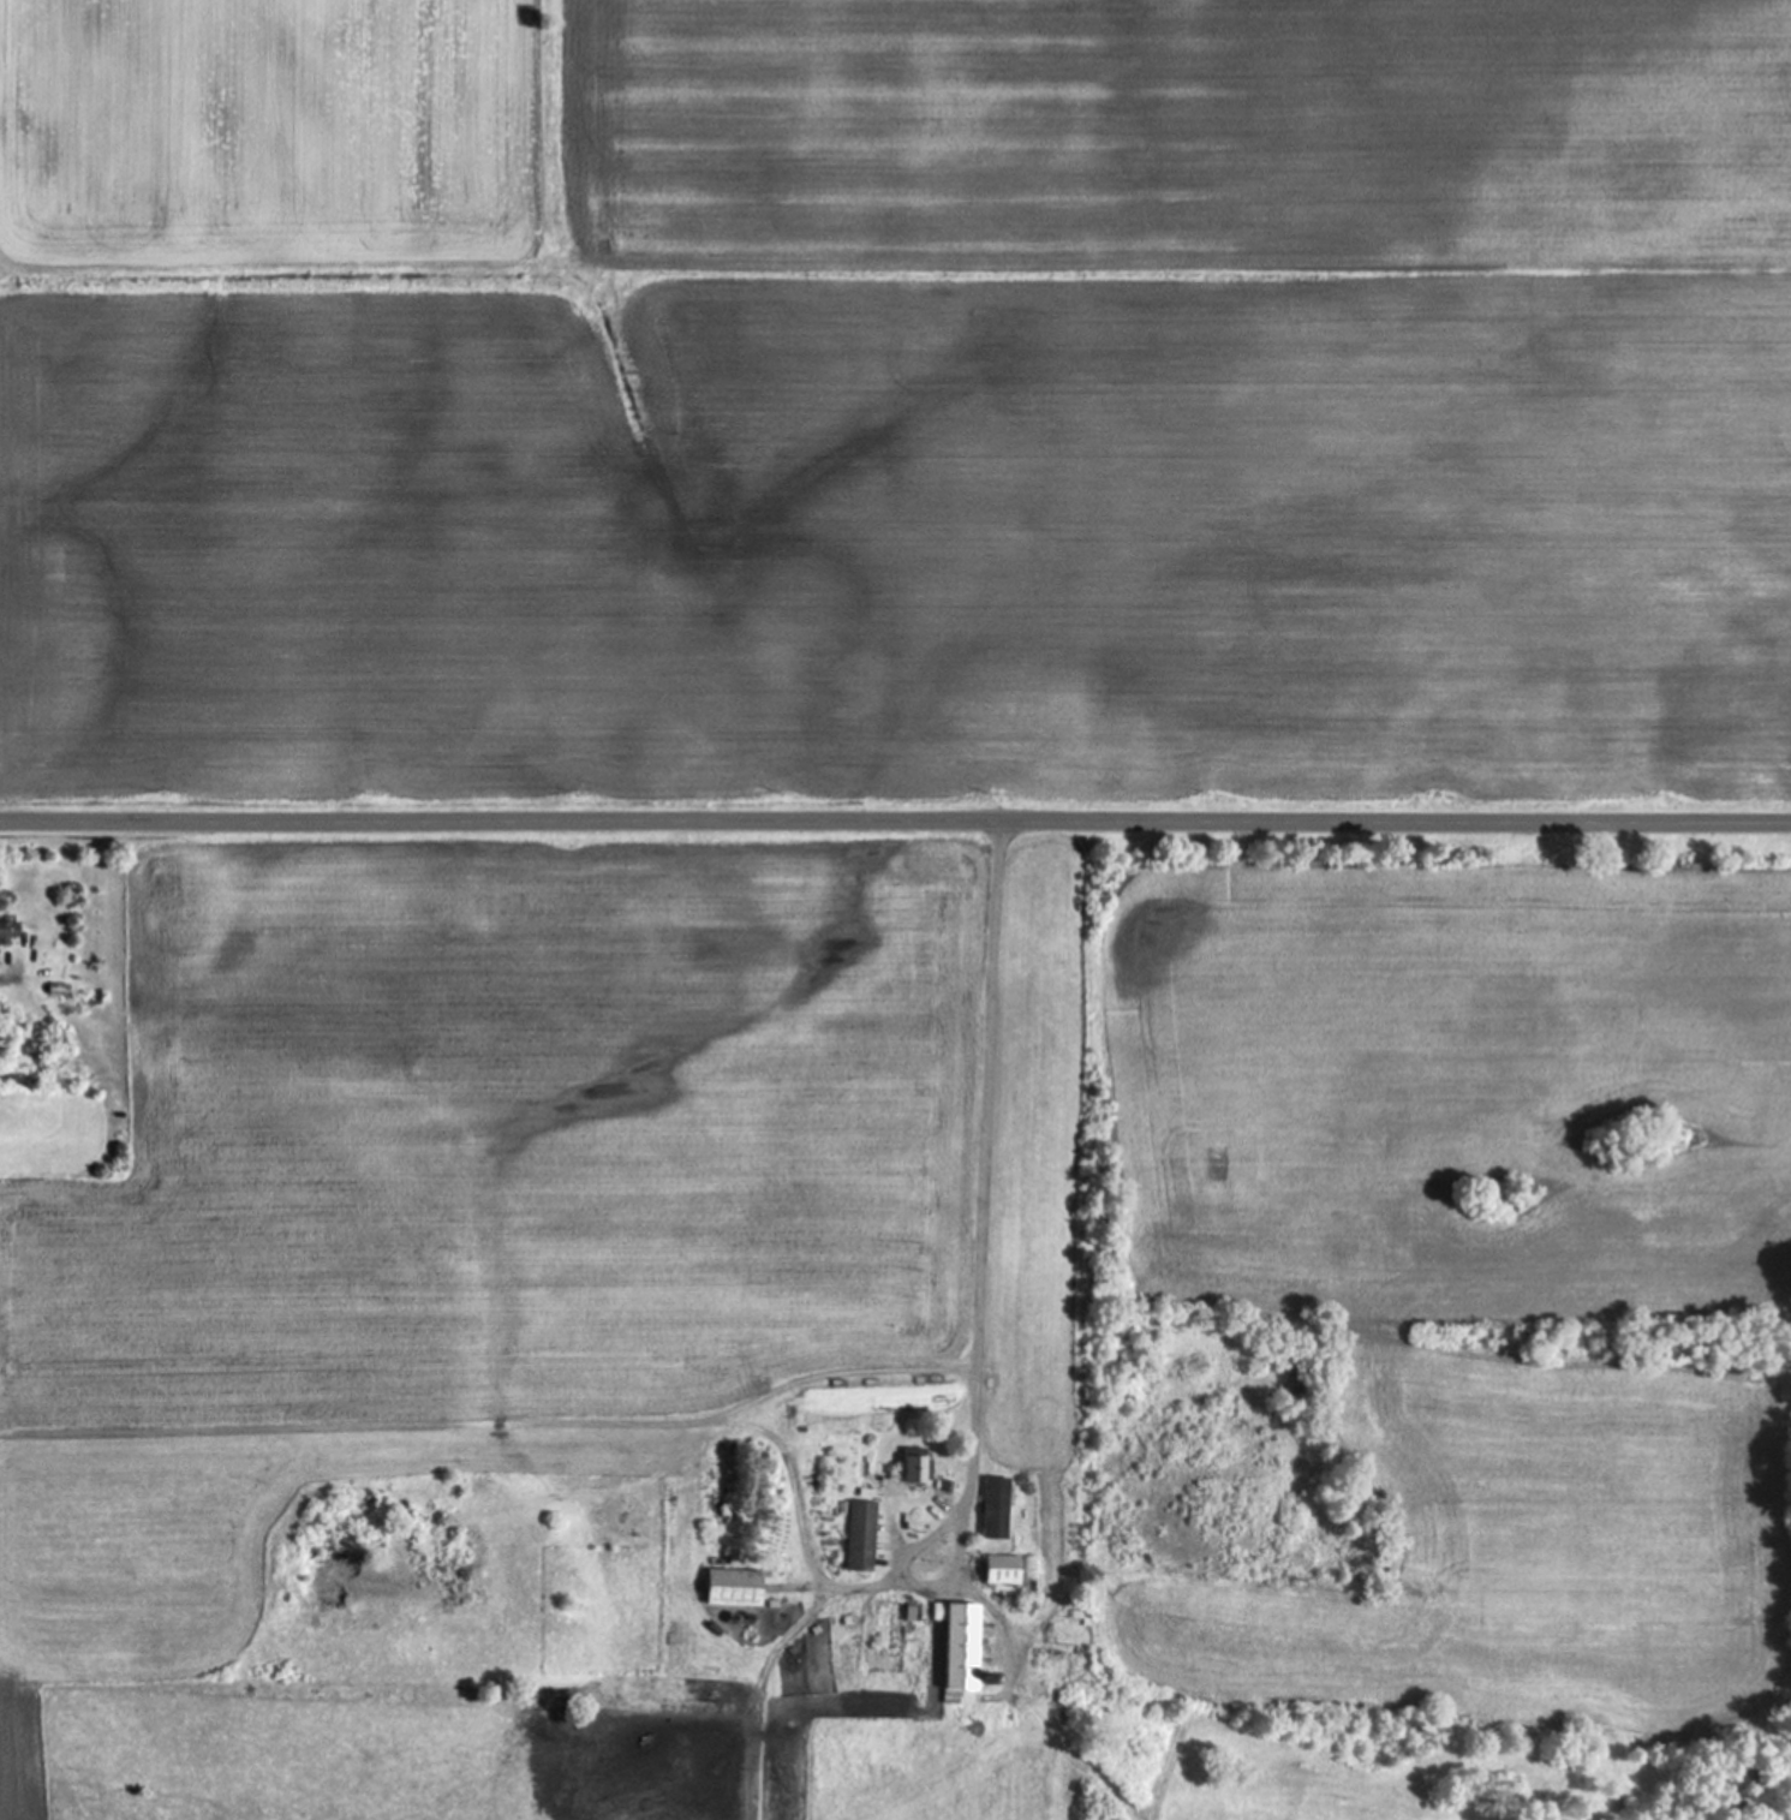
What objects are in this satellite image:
road: (895, 831)
building: (6, 927)
road: (10, 980)
road: (987, 1171)
building: (911, 1464)
building: (993, 1506)
building: (858, 1535)
building: (999, 1569)
building: (1027, 1579)
building: (729, 1587)
building: (891, 1623)
building: (954, 1649)

